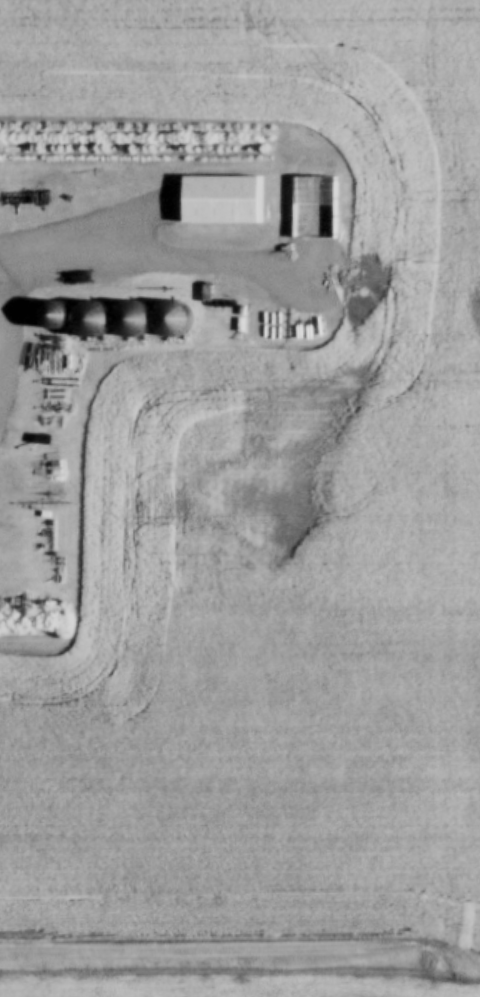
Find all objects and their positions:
building: (219, 202)
road: (242, 942)

